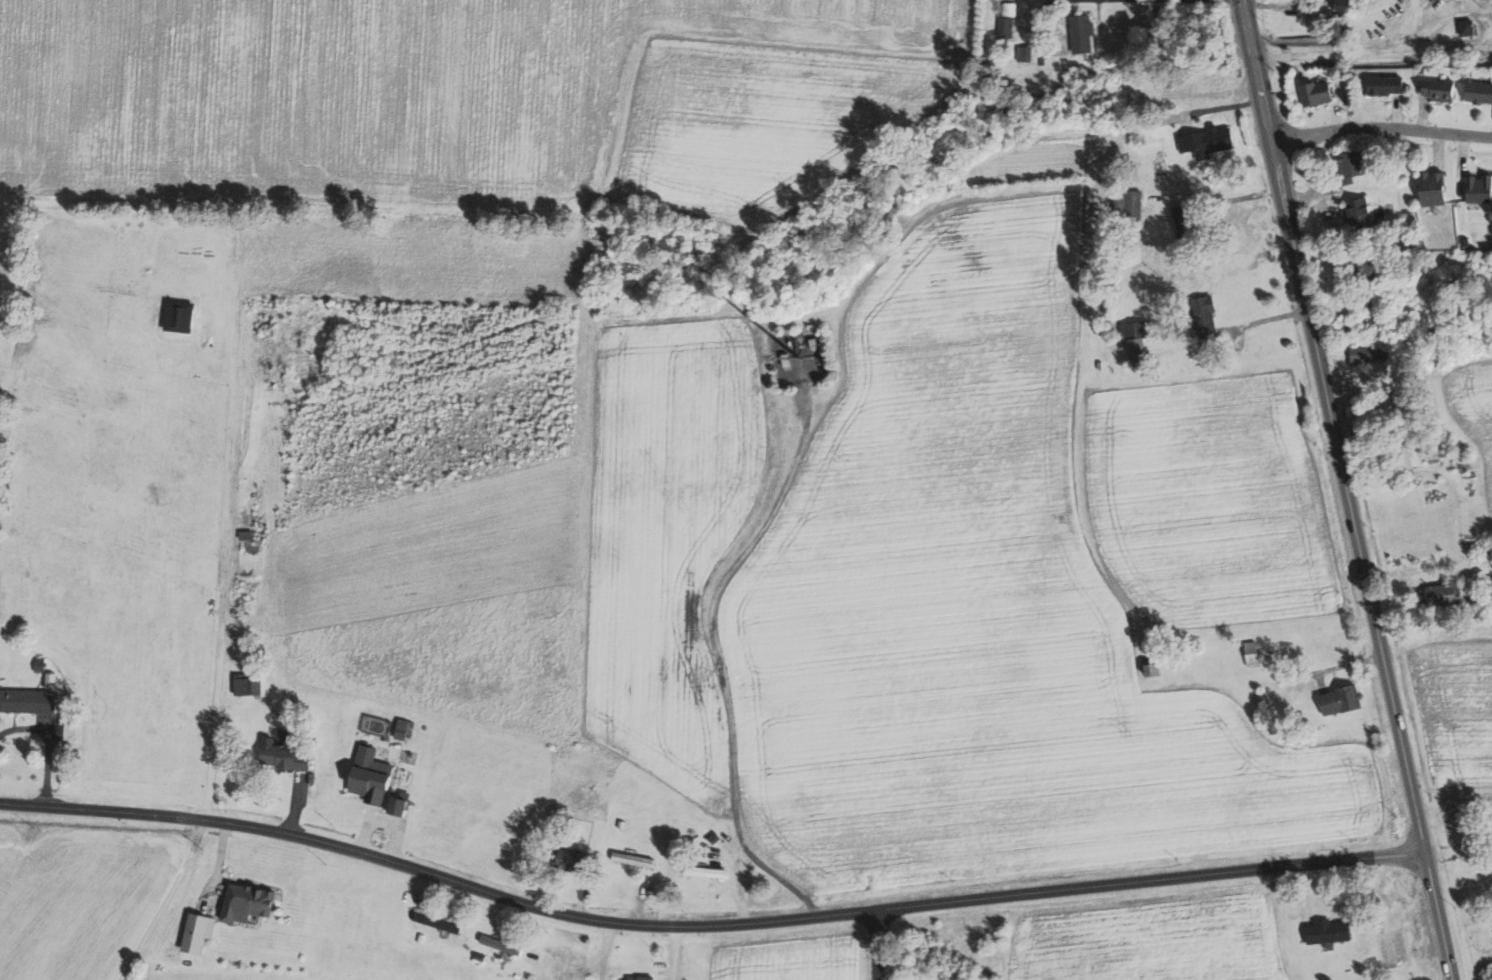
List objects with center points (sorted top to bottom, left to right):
road: (1128, 0)
building: (1011, 8)
road: (1439, 18)
building: (1007, 26)
building: (1468, 27)
building: (1083, 33)
building: (1025, 53)
road: (1372, 57)
building: (1389, 85)
building: (1442, 90)
building: (1479, 92)
building: (1318, 93)
road: (1381, 128)
building: (1208, 141)
building: (1353, 165)
building: (1436, 188)
building: (1480, 188)
road: (1231, 200)
building: (1359, 211)
building: (1185, 219)
building: (1371, 266)
building: (1206, 316)
building: (1137, 339)
building: (1372, 353)
road: (1331, 428)
building: (1413, 453)
road: (228, 534)
building: (1446, 594)
road: (714, 647)
building: (1254, 653)
building: (1155, 669)
building: (249, 685)
building: (28, 700)
building: (1343, 700)
building: (404, 729)
road: (49, 747)
building: (285, 754)
building: (373, 776)
building: (402, 803)
building: (647, 838)
road: (375, 858)
building: (633, 859)
building: (573, 860)
road: (1085, 889)
building: (249, 903)
road: (1437, 918)
building: (439, 923)
building: (200, 932)
building: (1331, 932)
building: (503, 945)
road: (874, 945)

